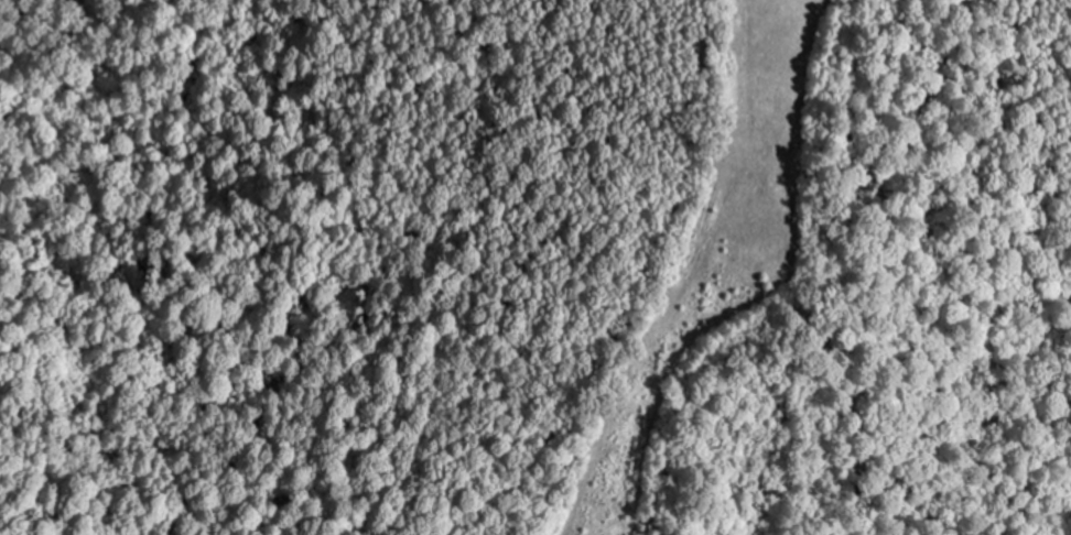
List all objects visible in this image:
road: (695, 287)

